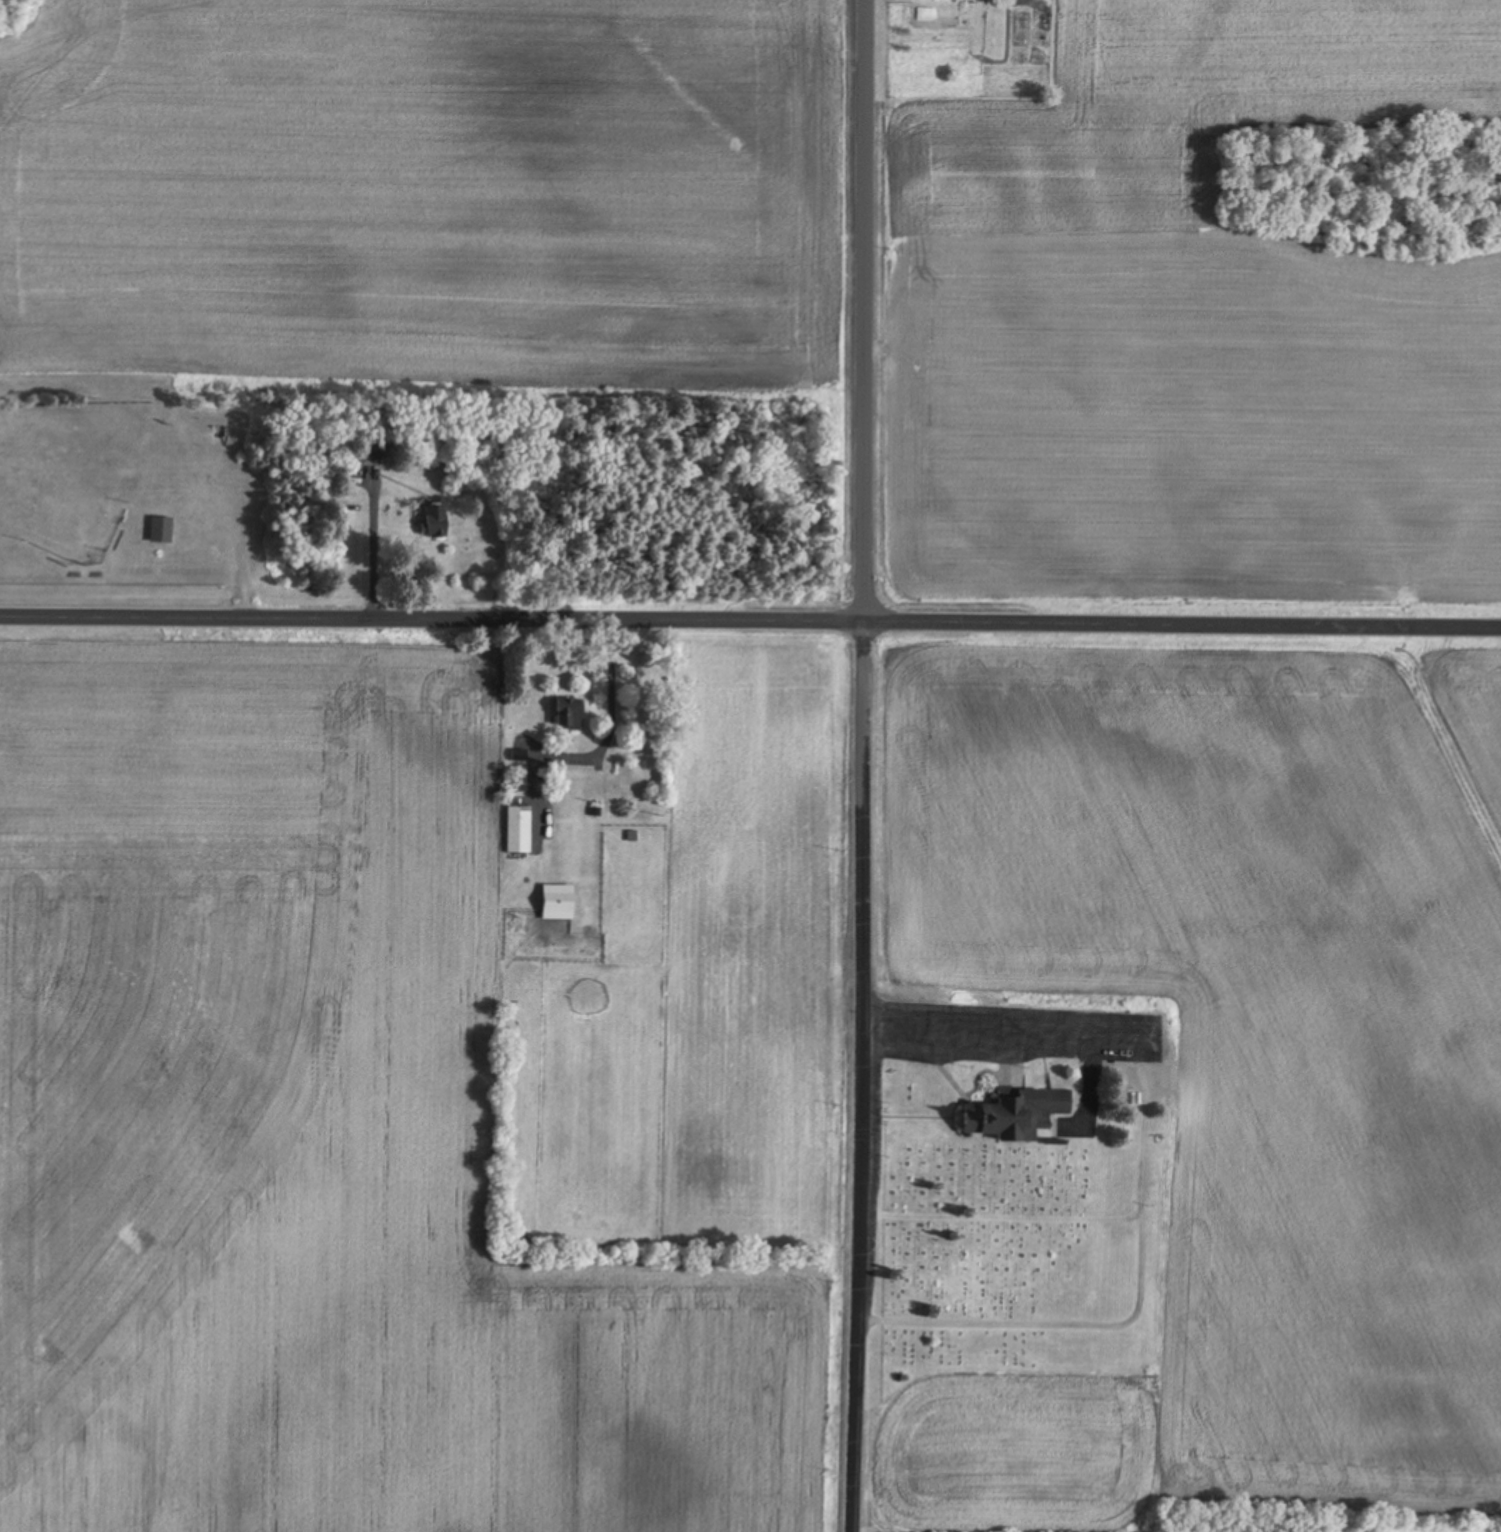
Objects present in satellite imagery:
building: (436, 521)
building: (162, 530)
road: (750, 625)
building: (570, 714)
road: (863, 766)
building: (521, 831)
building: (560, 903)
building: (1015, 1114)
park: (1017, 1266)

